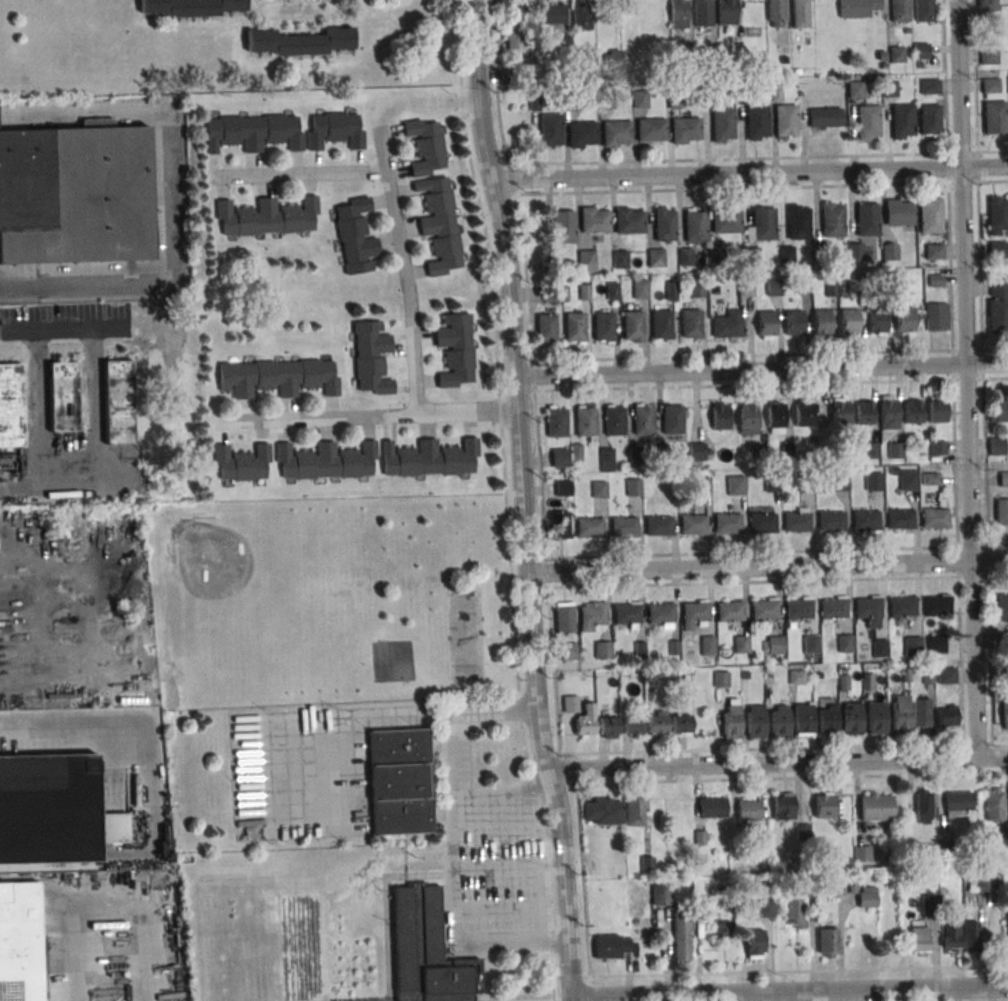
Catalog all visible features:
building: (986, 5)
building: (190, 7)
building: (857, 8)
building: (900, 10)
building: (924, 10)
building: (726, 12)
building: (775, 12)
building: (551, 13)
building: (703, 13)
building: (679, 14)
building: (800, 14)
building: (582, 15)
building: (514, 21)
building: (300, 42)
building: (920, 51)
building: (896, 54)
building: (614, 56)
building: (989, 56)
building: (930, 86)
building: (990, 87)
building: (856, 89)
building: (994, 117)
building: (825, 118)
building: (929, 119)
building: (785, 122)
building: (902, 122)
building: (757, 123)
building: (868, 123)
building: (722, 125)
building: (335, 129)
building: (651, 130)
building: (551, 131)
building: (685, 131)
building: (254, 132)
building: (616, 133)
building: (581, 135)
building: (426, 146)
road: (750, 172)
road: (299, 175)
building: (73, 195)
road: (173, 201)
road: (390, 209)
building: (898, 213)
building: (930, 215)
building: (998, 215)
building: (269, 217)
building: (867, 219)
building: (594, 221)
building: (725, 221)
building: (832, 221)
building: (628, 222)
building: (798, 223)
building: (440, 224)
building: (764, 224)
building: (695, 225)
building: (564, 226)
building: (664, 226)
building: (355, 236)
building: (997, 249)
building: (890, 251)
building: (933, 252)
building: (854, 253)
building: (716, 254)
building: (785, 255)
building: (751, 256)
building: (684, 257)
building: (653, 258)
building: (620, 259)
building: (549, 260)
building: (585, 260)
building: (885, 282)
building: (856, 283)
building: (773, 288)
building: (697, 289)
building: (745, 289)
building: (613, 290)
building: (640, 290)
building: (671, 291)
building: (998, 305)
building: (937, 318)
building: (876, 321)
building: (904, 321)
building: (849, 322)
building: (766, 323)
building: (794, 323)
building: (821, 323)
building: (661, 325)
building: (690, 325)
building: (632, 326)
building: (728, 326)
building: (574, 327)
building: (603, 327)
building: (546, 328)
road: (94, 334)
building: (455, 349)
building: (371, 358)
road: (761, 370)
building: (277, 377)
road: (967, 378)
road: (982, 378)
road: (40, 382)
building: (62, 397)
building: (118, 403)
building: (10, 406)
building: (1001, 411)
building: (937, 412)
building: (864, 413)
building: (912, 413)
road: (366, 414)
building: (720, 415)
building: (803, 415)
building: (841, 415)
building: (888, 416)
building: (775, 417)
building: (643, 419)
building: (672, 419)
building: (748, 419)
building: (614, 420)
building: (557, 423)
building: (585, 423)
building: (997, 446)
building: (937, 447)
building: (871, 450)
building: (896, 450)
building: (696, 451)
building: (560, 457)
building: (430, 458)
building: (607, 459)
building: (325, 460)
building: (241, 463)
building: (930, 478)
building: (1003, 478)
building: (909, 479)
building: (838, 481)
building: (874, 481)
building: (735, 484)
building: (563, 487)
building: (599, 487)
building: (633, 487)
road: (522, 498)
building: (1001, 512)
building: (900, 520)
building: (935, 520)
building: (865, 521)
building: (831, 522)
building: (796, 523)
building: (559, 524)
building: (762, 524)
building: (727, 525)
building: (658, 526)
building: (693, 526)
building: (624, 528)
building: (589, 529)
road: (776, 552)
road: (767, 566)
road: (762, 581)
park: (329, 603)
building: (902, 608)
building: (937, 608)
building: (868, 609)
building: (1002, 609)
building: (833, 610)
building: (764, 611)
building: (799, 611)
building: (729, 612)
building: (695, 613)
building: (626, 614)
building: (660, 614)
building: (594, 615)
building: (566, 617)
building: (845, 644)
building: (741, 645)
building: (810, 645)
building: (707, 646)
building: (775, 646)
building: (936, 646)
building: (912, 647)
building: (879, 649)
building: (603, 650)
building: (569, 651)
building: (946, 677)
building: (721, 679)
building: (571, 704)
building: (1005, 711)
road: (418, 714)
building: (921, 715)
building: (946, 716)
building: (875, 720)
building: (899, 720)
building: (585, 721)
building: (657, 722)
building: (803, 722)
building: (681, 723)
building: (779, 723)
building: (851, 723)
building: (826, 724)
building: (633, 725)
building: (754, 725)
building: (609, 726)
building: (730, 726)
road: (778, 766)
building: (399, 781)
building: (994, 803)
building: (957, 804)
building: (783, 805)
building: (824, 805)
building: (876, 806)
building: (922, 806)
building: (712, 807)
building: (55, 808)
building: (748, 810)
building: (615, 812)
building: (1004, 830)
building: (862, 852)
road: (450, 878)
building: (981, 884)
building: (836, 887)
building: (661, 895)
building: (867, 896)
building: (766, 906)
building: (795, 912)
building: (723, 929)
building: (951, 935)
building: (971, 936)
building: (681, 937)
building: (919, 939)
building: (19, 942)
building: (827, 942)
building: (755, 943)
building: (612, 946)
building: (427, 951)
road: (789, 991)
road: (571, 999)

